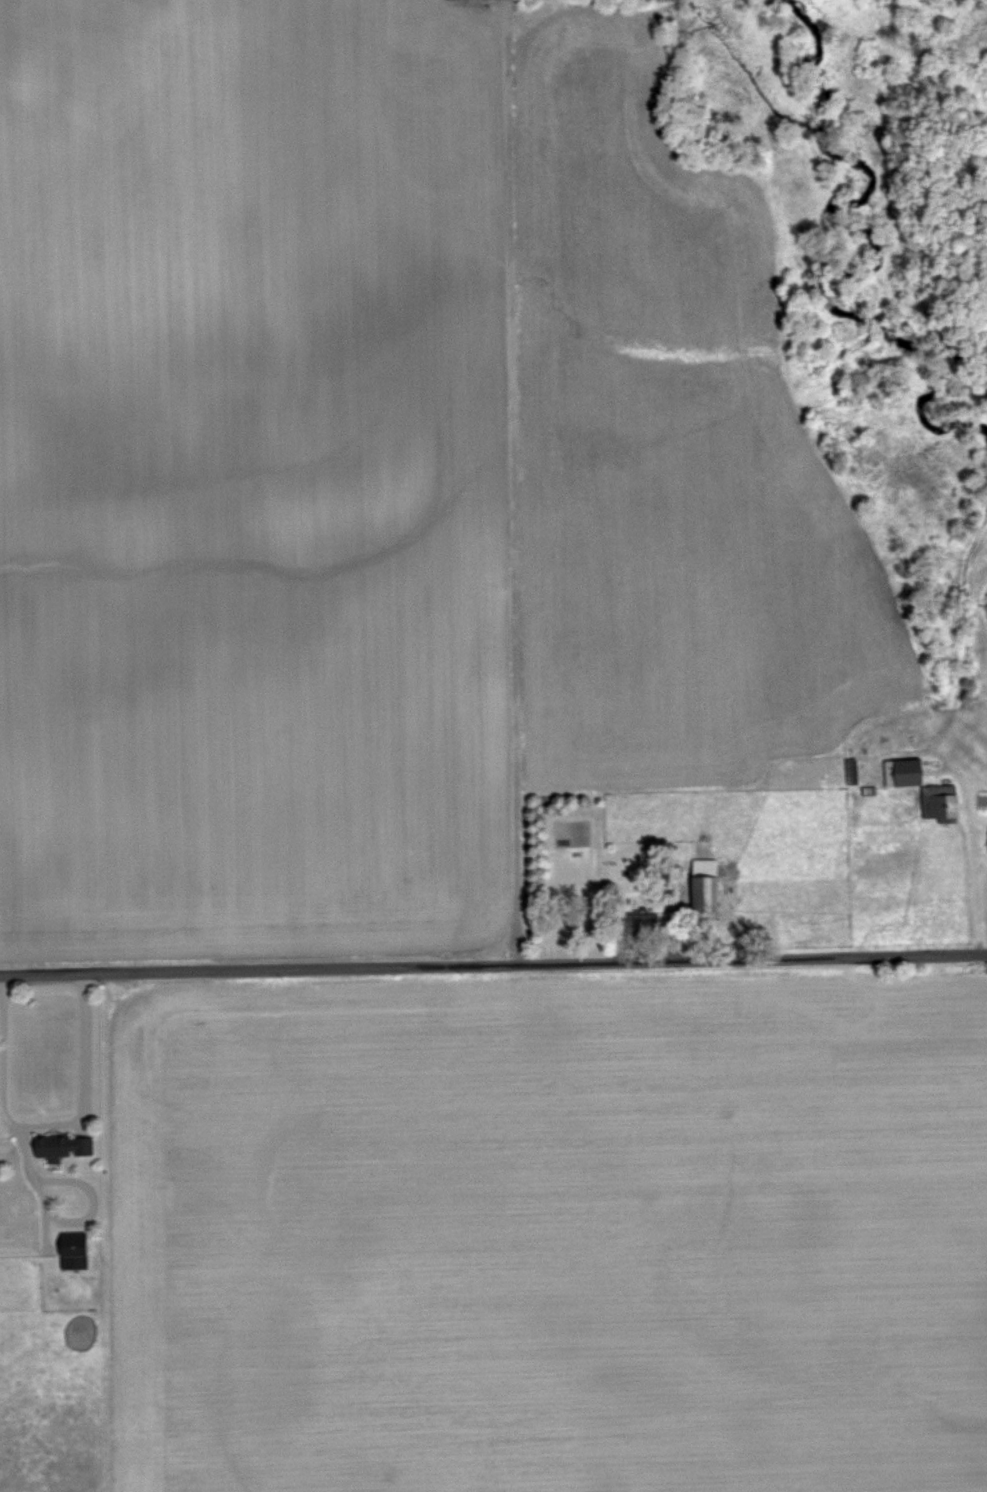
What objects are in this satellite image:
building: (908, 771)
building: (940, 802)
building: (705, 885)
building: (641, 921)
road: (493, 965)
road: (44, 1128)
building: (64, 1146)
road: (20, 1156)
road: (54, 1218)
building: (74, 1250)

